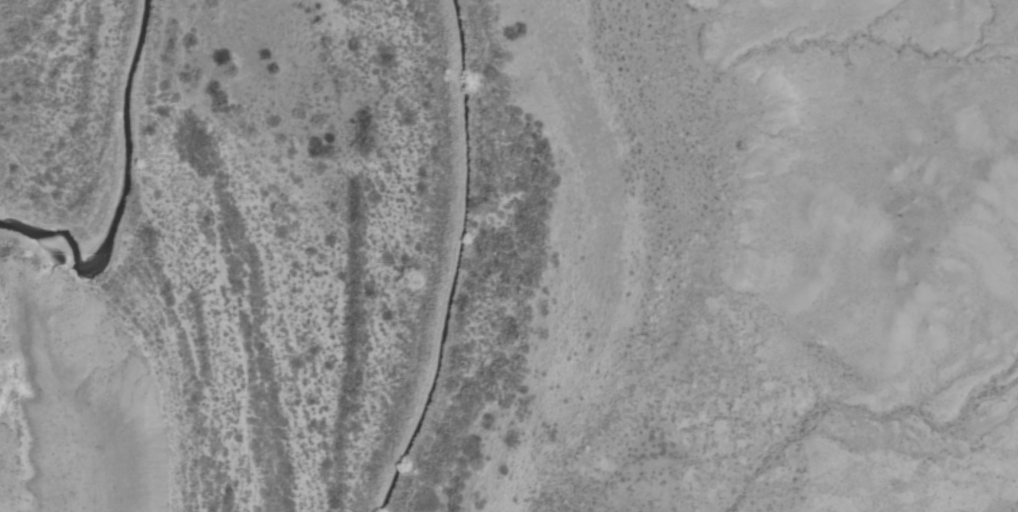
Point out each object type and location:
river: (133, 192)
river: (452, 257)

